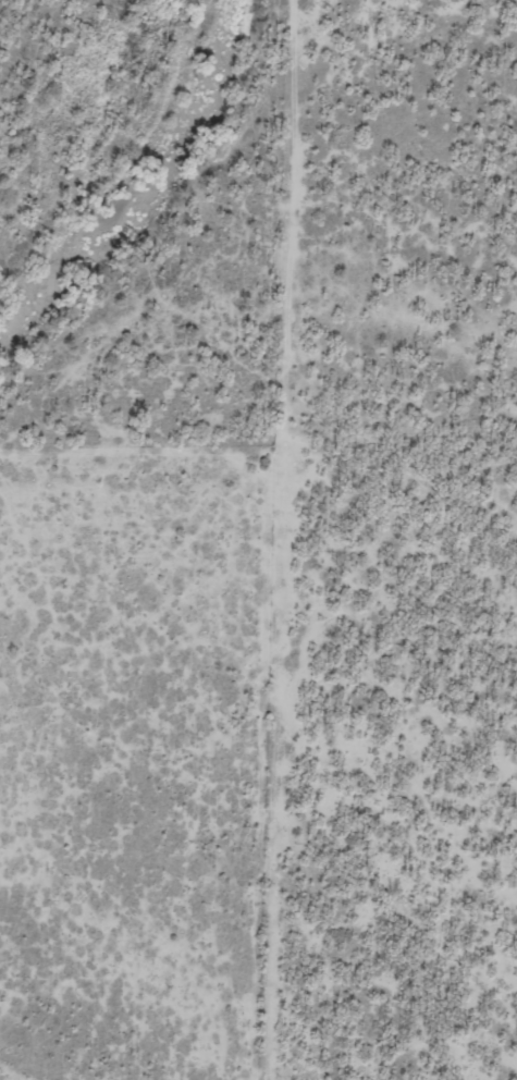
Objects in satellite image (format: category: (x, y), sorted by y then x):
river: (152, 191)

